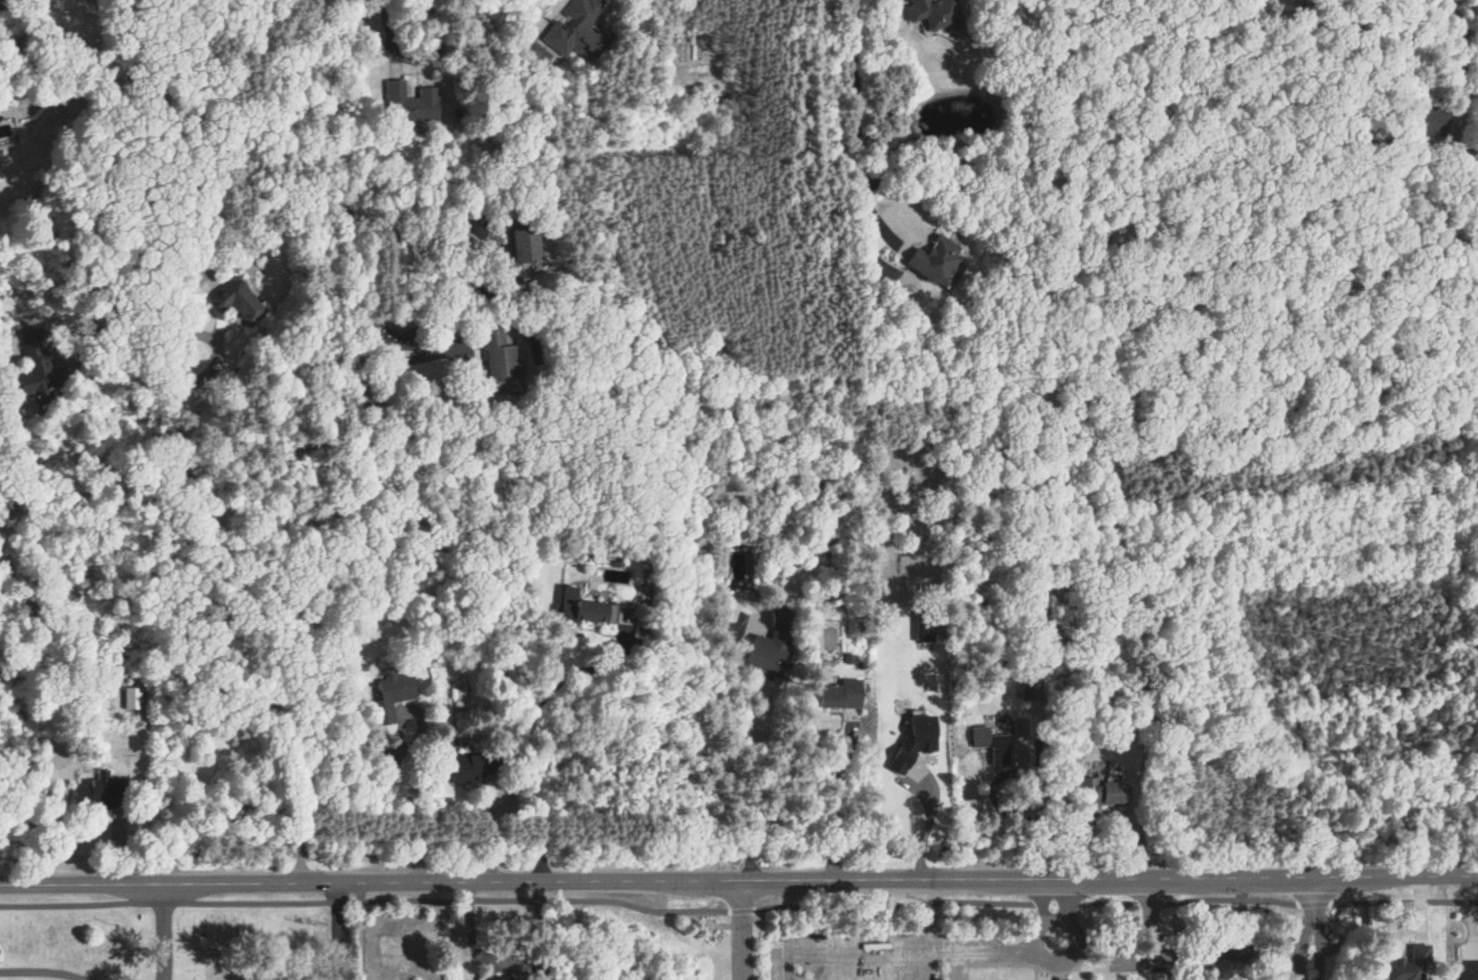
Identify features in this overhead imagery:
road: (566, 0)
building: (935, 13)
building: (577, 31)
road: (420, 60)
road: (1468, 98)
building: (409, 102)
road: (856, 110)
building: (1432, 122)
road: (340, 185)
building: (936, 261)
road: (464, 277)
building: (237, 300)
road: (9, 352)
building: (498, 356)
building: (36, 371)
road: (472, 388)
building: (586, 608)
road: (251, 614)
building: (925, 629)
building: (772, 643)
building: (393, 694)
building: (842, 694)
building: (132, 698)
building: (1020, 726)
road: (528, 727)
building: (916, 740)
road: (745, 741)
building: (992, 744)
road: (397, 764)
building: (468, 768)
road: (1028, 775)
building: (97, 791)
building: (1103, 792)
road: (836, 803)
road: (927, 827)
road: (492, 830)
road: (739, 883)
road: (1058, 884)
road: (1042, 915)
road: (1057, 918)
road: (1310, 929)
road: (743, 931)
road: (154, 932)
road: (339, 932)
road: (361, 932)
park: (163, 942)
park: (1017, 942)
road: (1073, 942)
road: (993, 951)
road: (860, 952)
road: (504, 960)
road: (956, 965)
building: (1410, 965)
road: (41, 968)
building: (1468, 971)
building: (499, 977)

